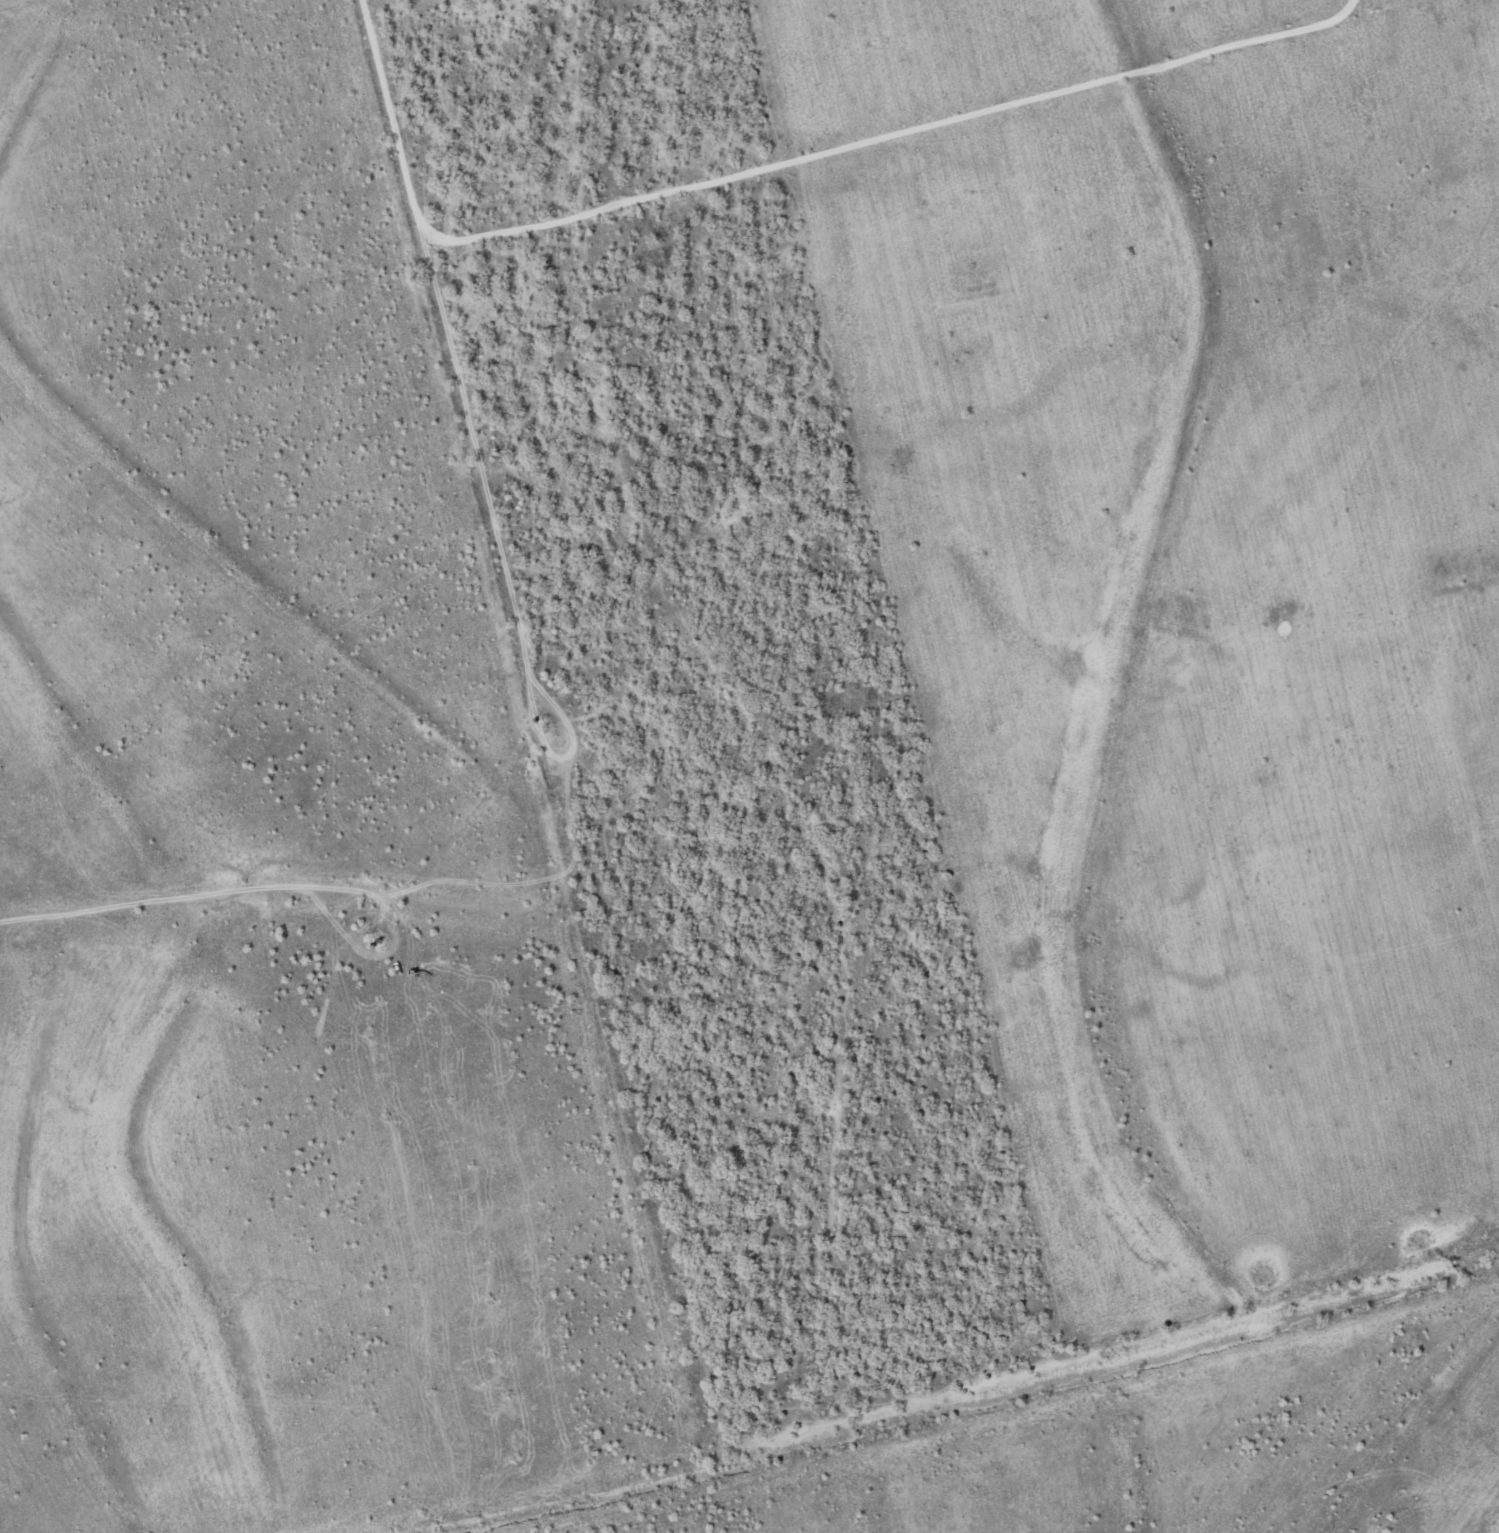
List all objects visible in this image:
road: (1226, 1069)

